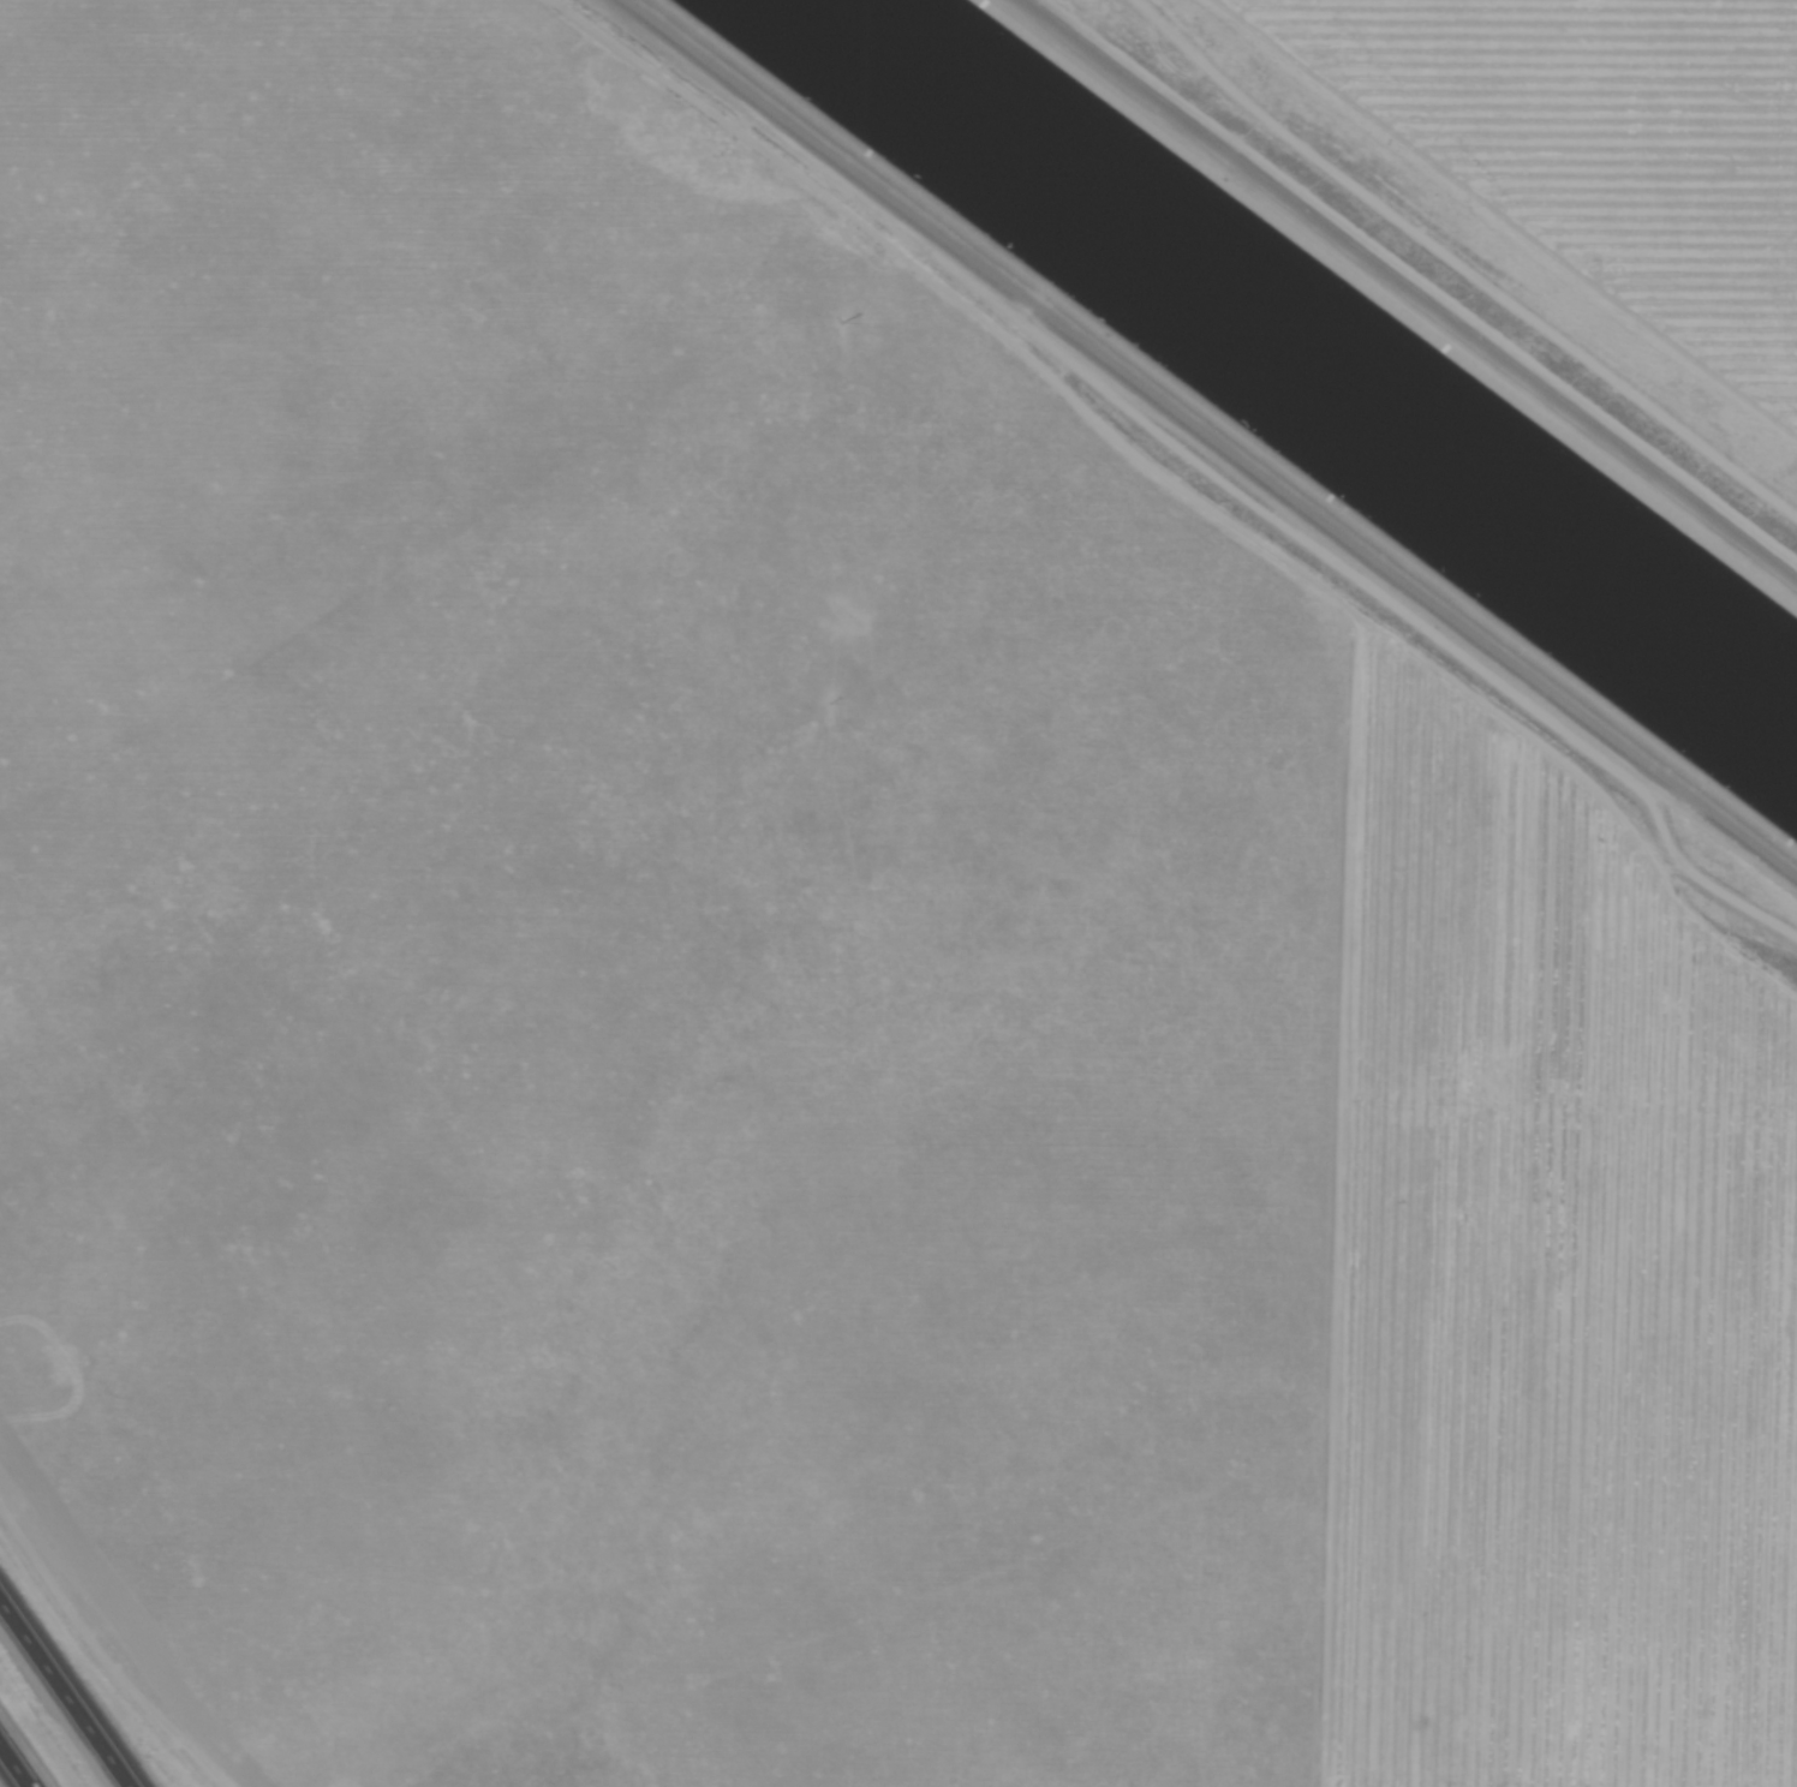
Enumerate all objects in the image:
crop: (1595, 155)
road: (1207, 459)
crop: (796, 1014)
road: (107, 1650)
road: (71, 1687)
road: (13, 1767)

